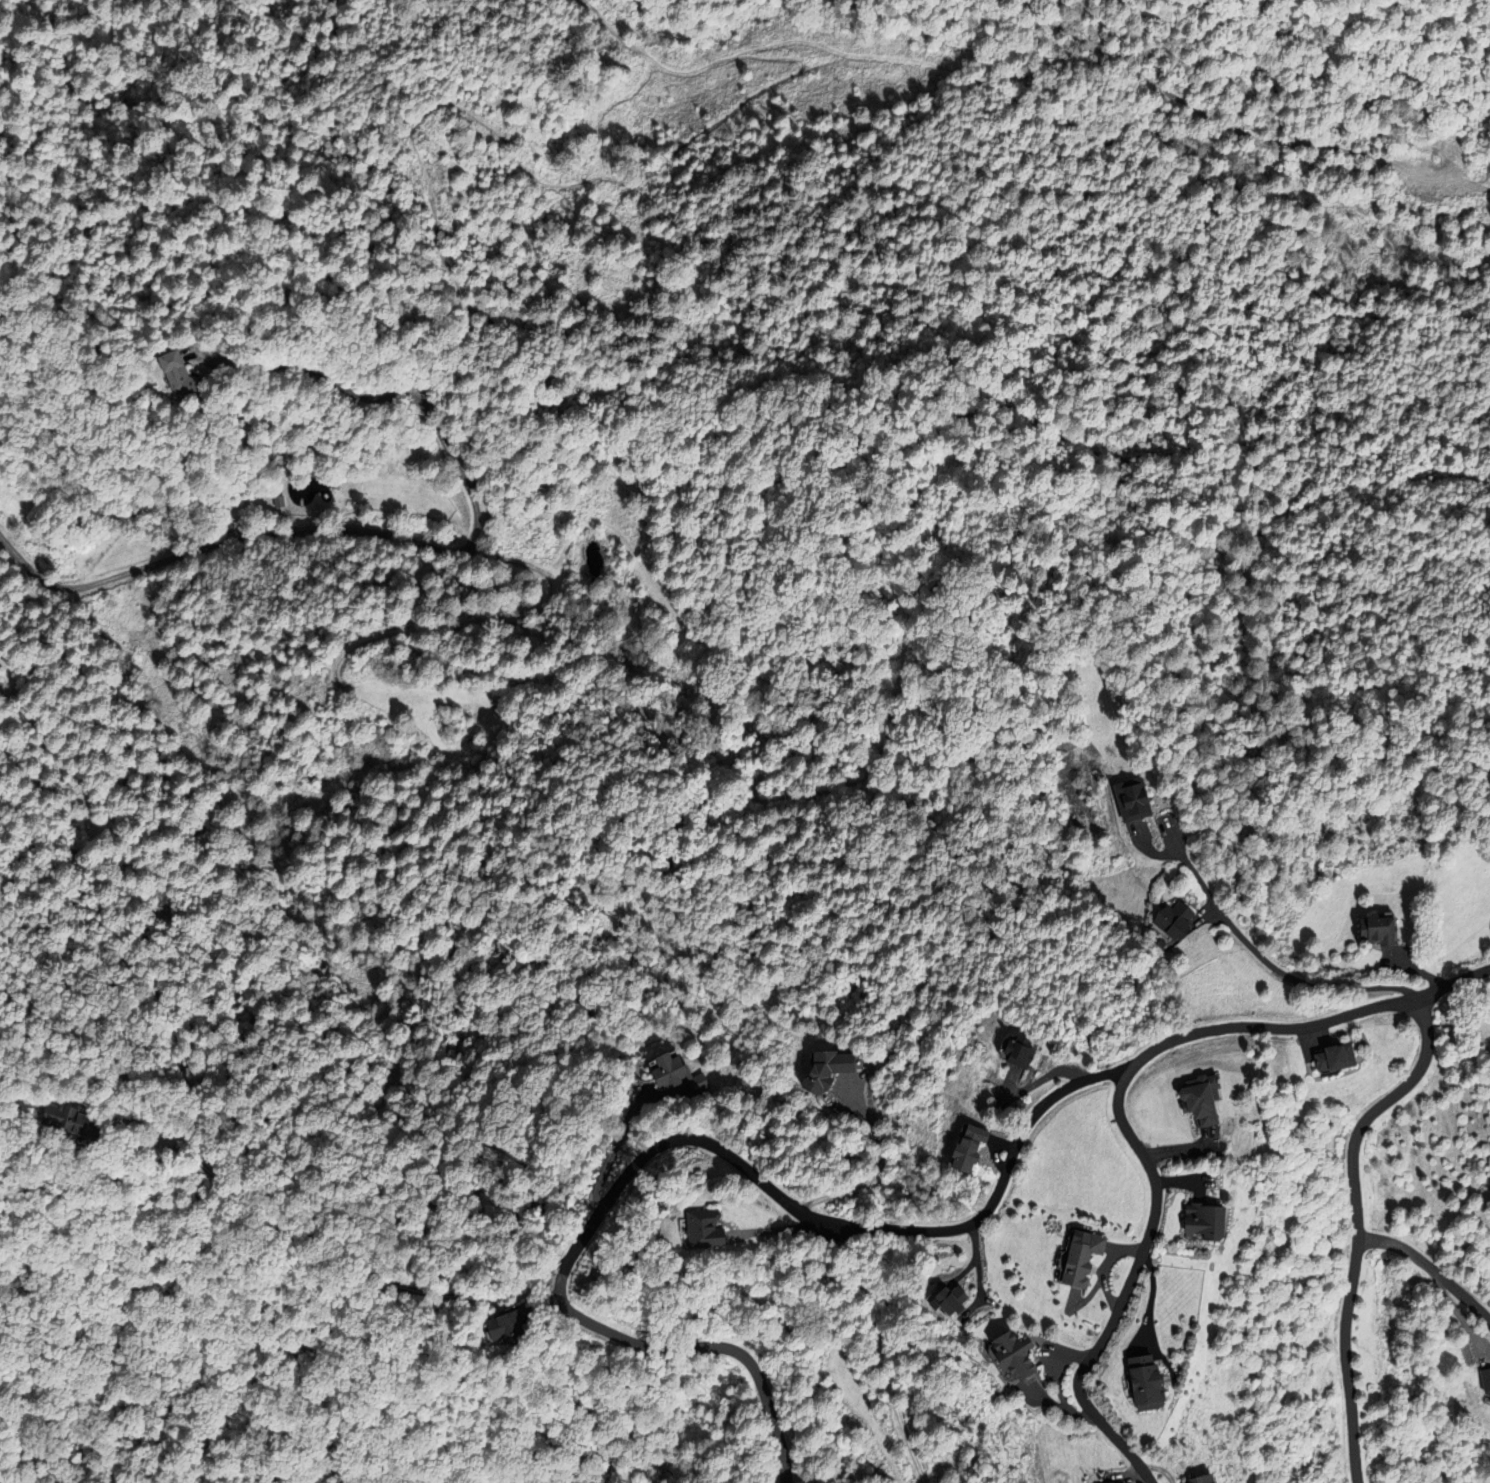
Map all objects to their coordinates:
building: (182, 373)
road: (390, 396)
building: (280, 500)
pier: (300, 502)
road: (372, 530)
building: (1129, 800)
building: (1175, 919)
building: (1378, 929)
road: (1271, 965)
road: (1453, 981)
building: (1017, 1052)
building: (1326, 1060)
building: (660, 1071)
road: (1116, 1077)
road: (1076, 1084)
road: (1121, 1084)
building: (1194, 1104)
building: (55, 1123)
road: (862, 1183)
building: (1196, 1220)
road: (1356, 1225)
building: (697, 1231)
building: (1079, 1261)
road: (1429, 1266)
road: (560, 1290)
building: (948, 1301)
road: (1115, 1313)
building: (497, 1330)
road: (879, 1353)
building: (1008, 1356)
building: (1138, 1385)
road: (777, 1476)
building: (1189, 1478)

